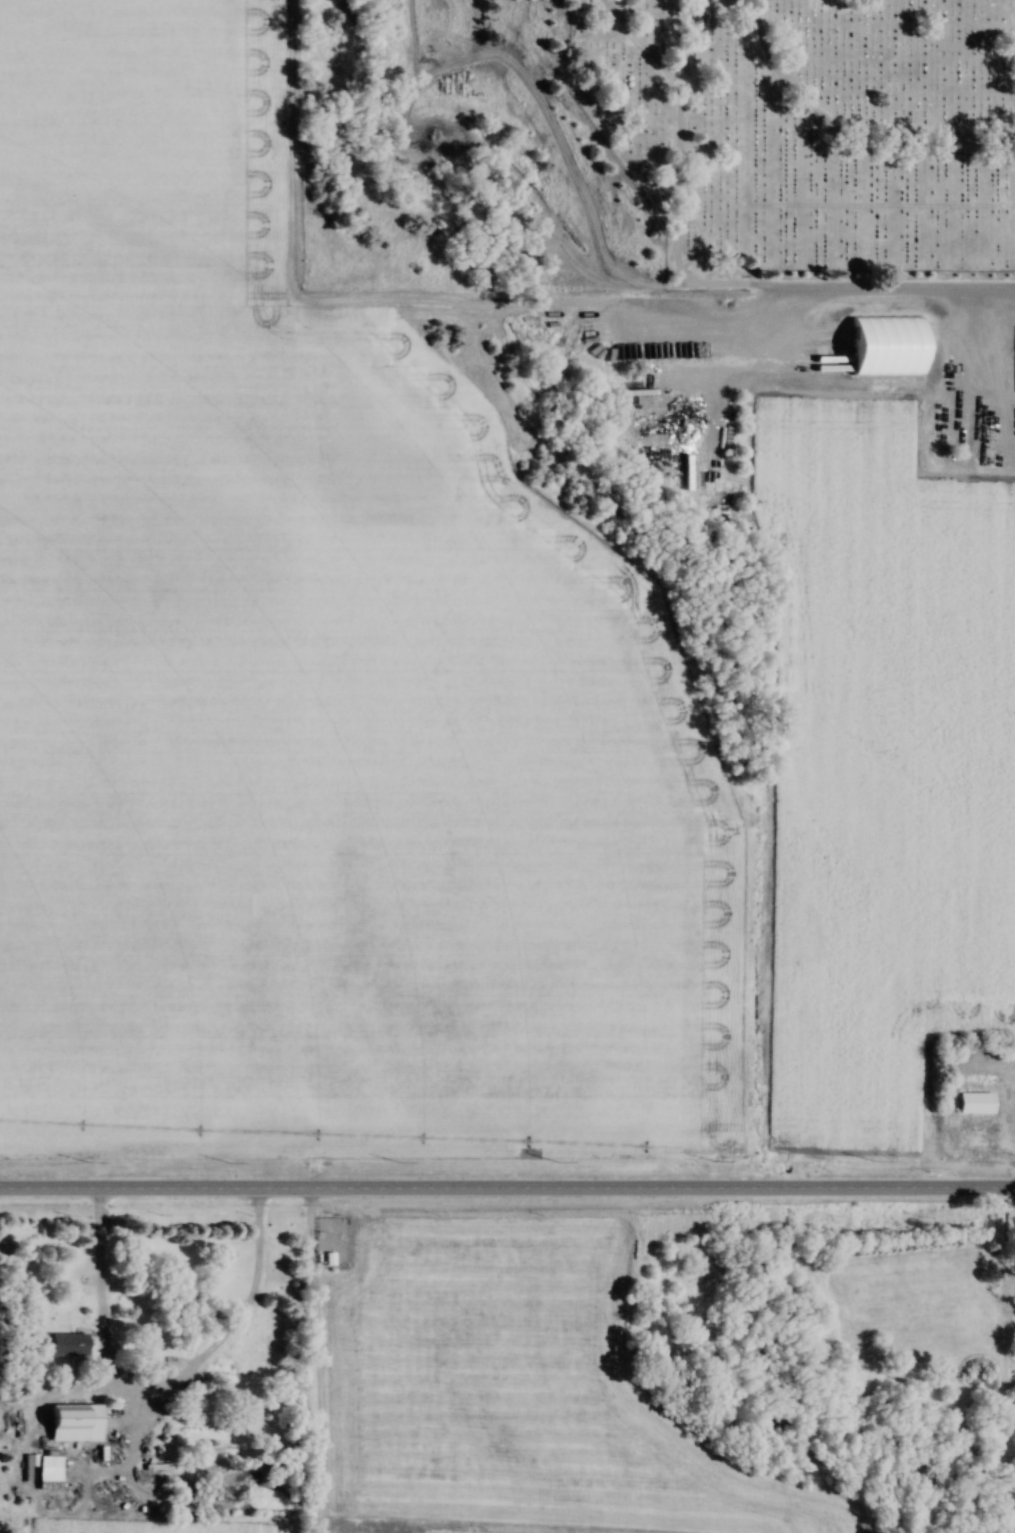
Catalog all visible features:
road: (842, 133)
park: (656, 145)
road: (691, 285)
road: (994, 352)
crop: (309, 684)
building: (974, 1102)
road: (507, 1191)
building: (326, 1253)
building: (66, 1345)
crop: (521, 1388)
road: (150, 1394)
building: (75, 1423)
crop: (464, 1528)

